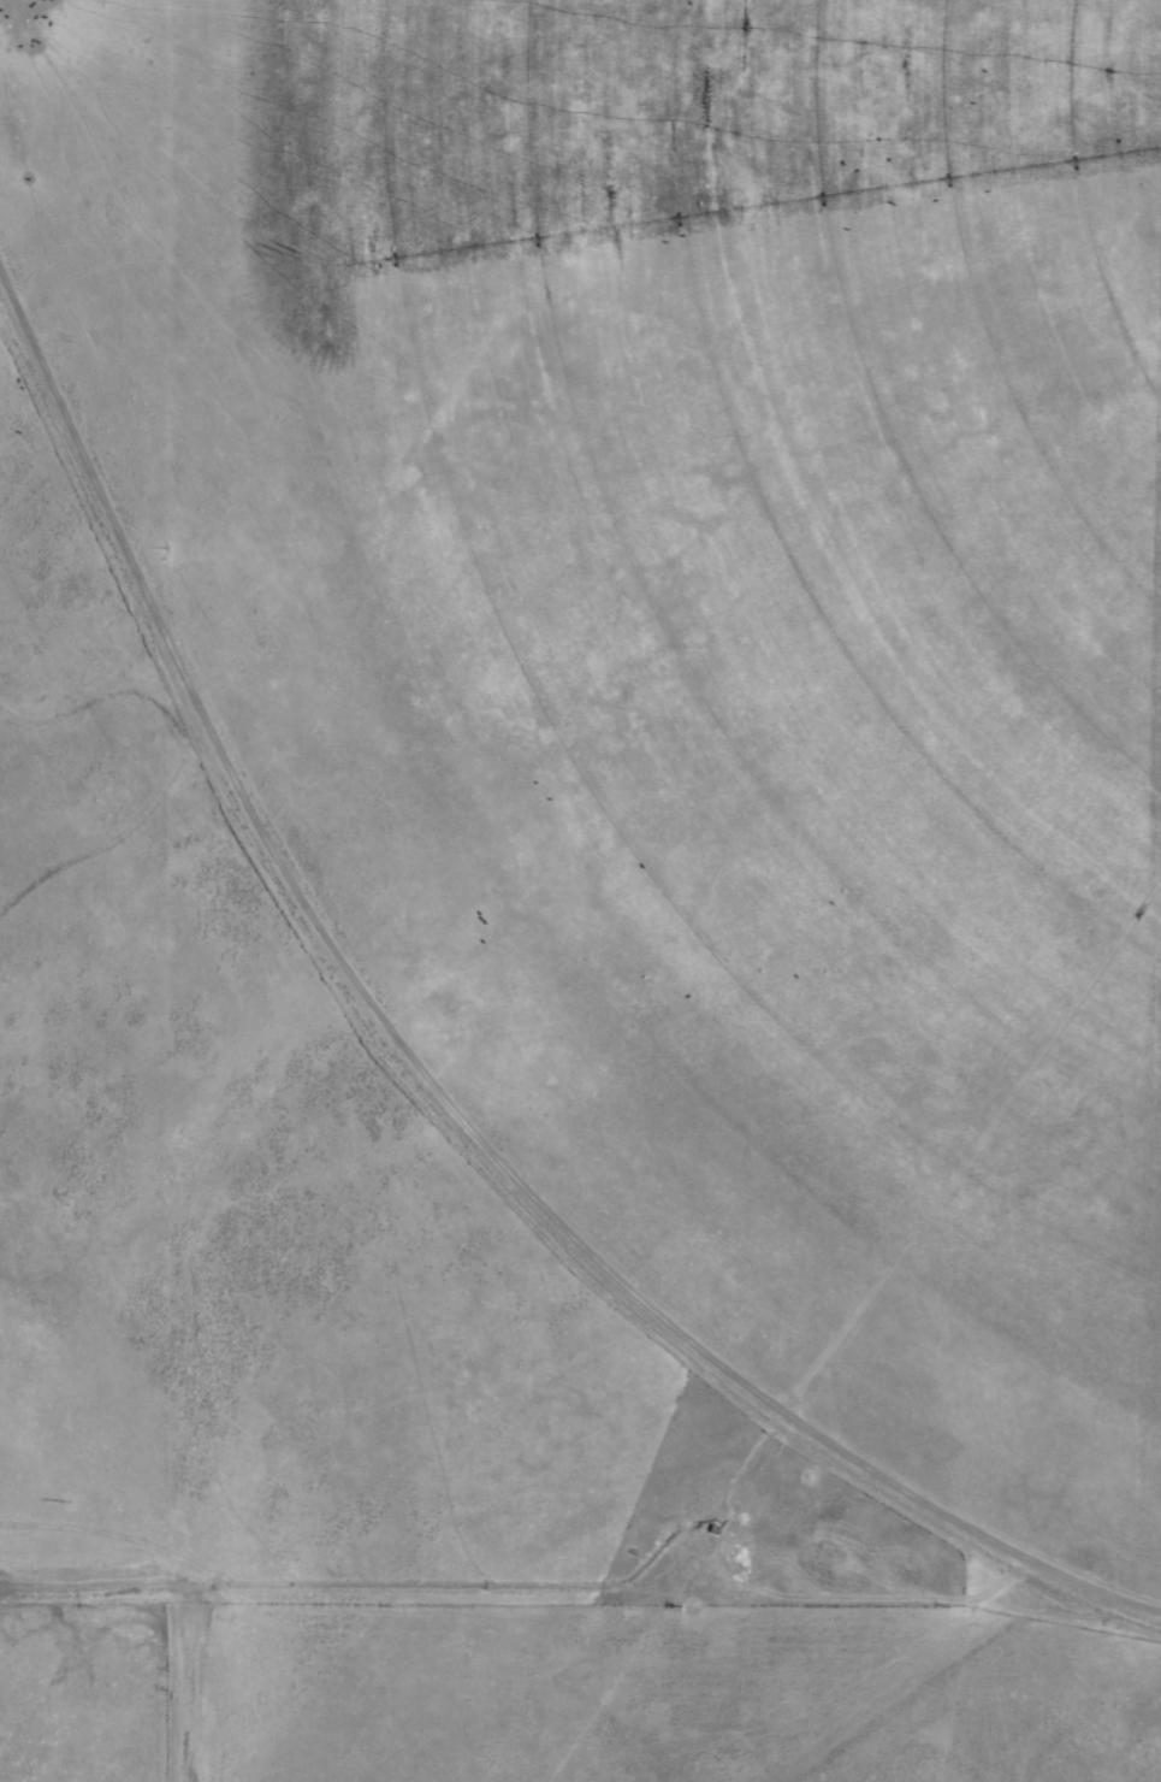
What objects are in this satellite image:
crop: (580, 891)
road: (426, 1079)

